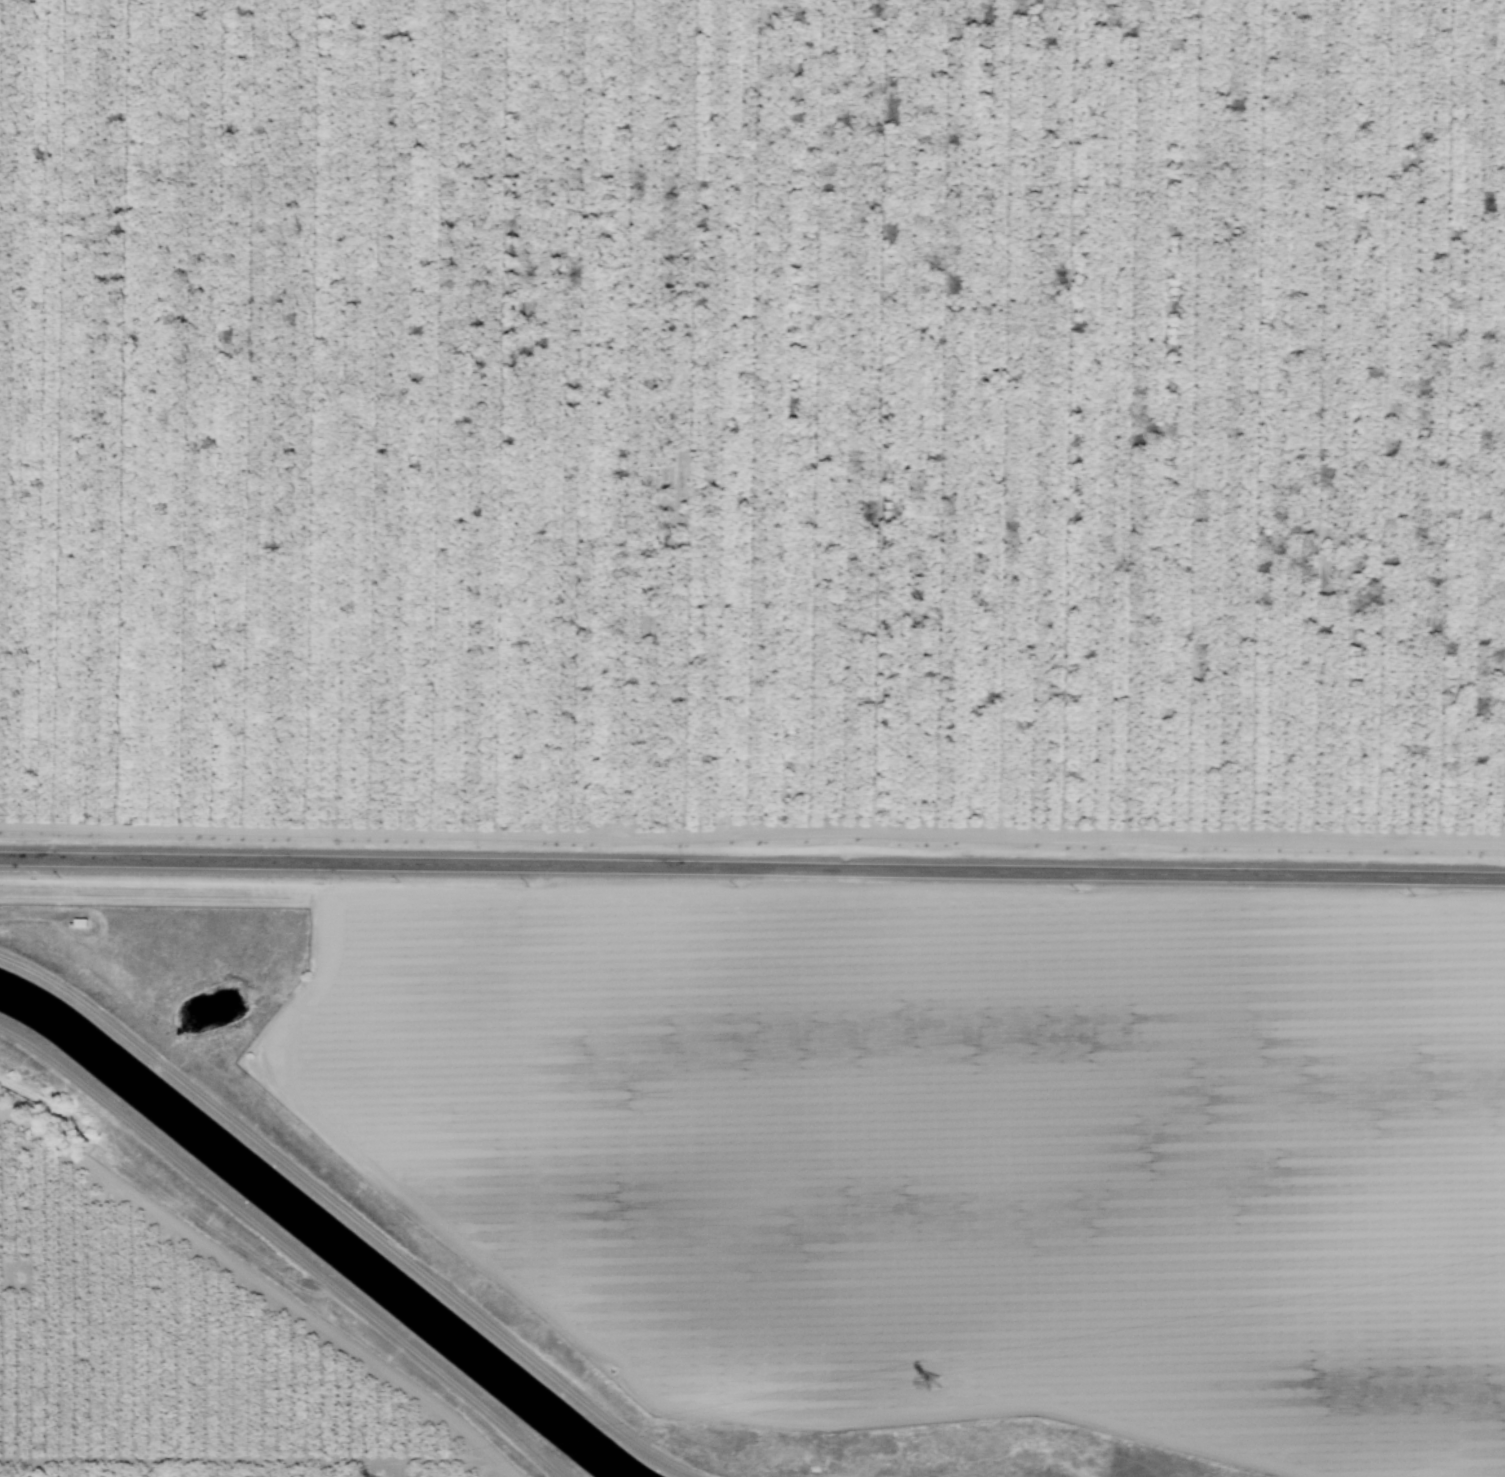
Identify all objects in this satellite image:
road: (752, 833)
road: (752, 869)
road: (174, 899)
road: (40, 914)
road: (317, 1130)
road: (1024, 1239)
road: (263, 1286)
power tower: (935, 1381)
road: (690, 1412)
road: (248, 1458)

